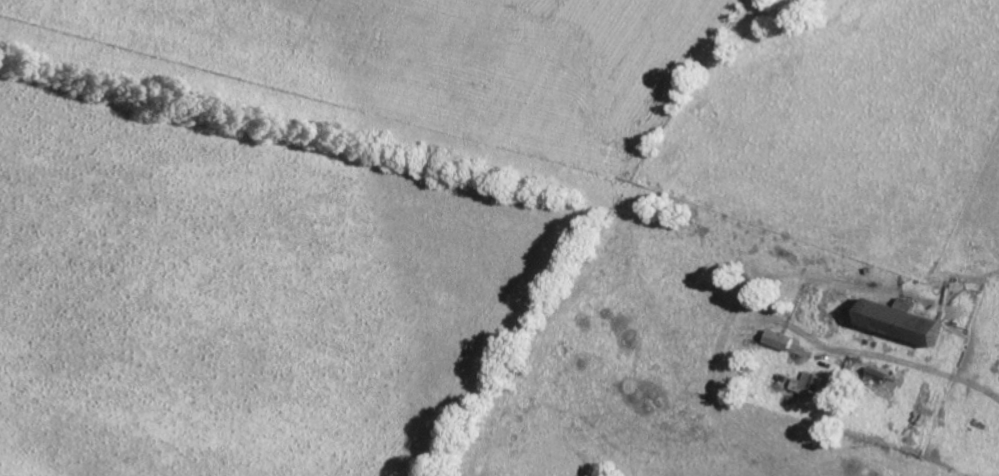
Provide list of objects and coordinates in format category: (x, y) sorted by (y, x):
building: (908, 305)
building: (905, 325)
building: (781, 342)
building: (879, 377)
building: (809, 386)
road: (979, 391)

